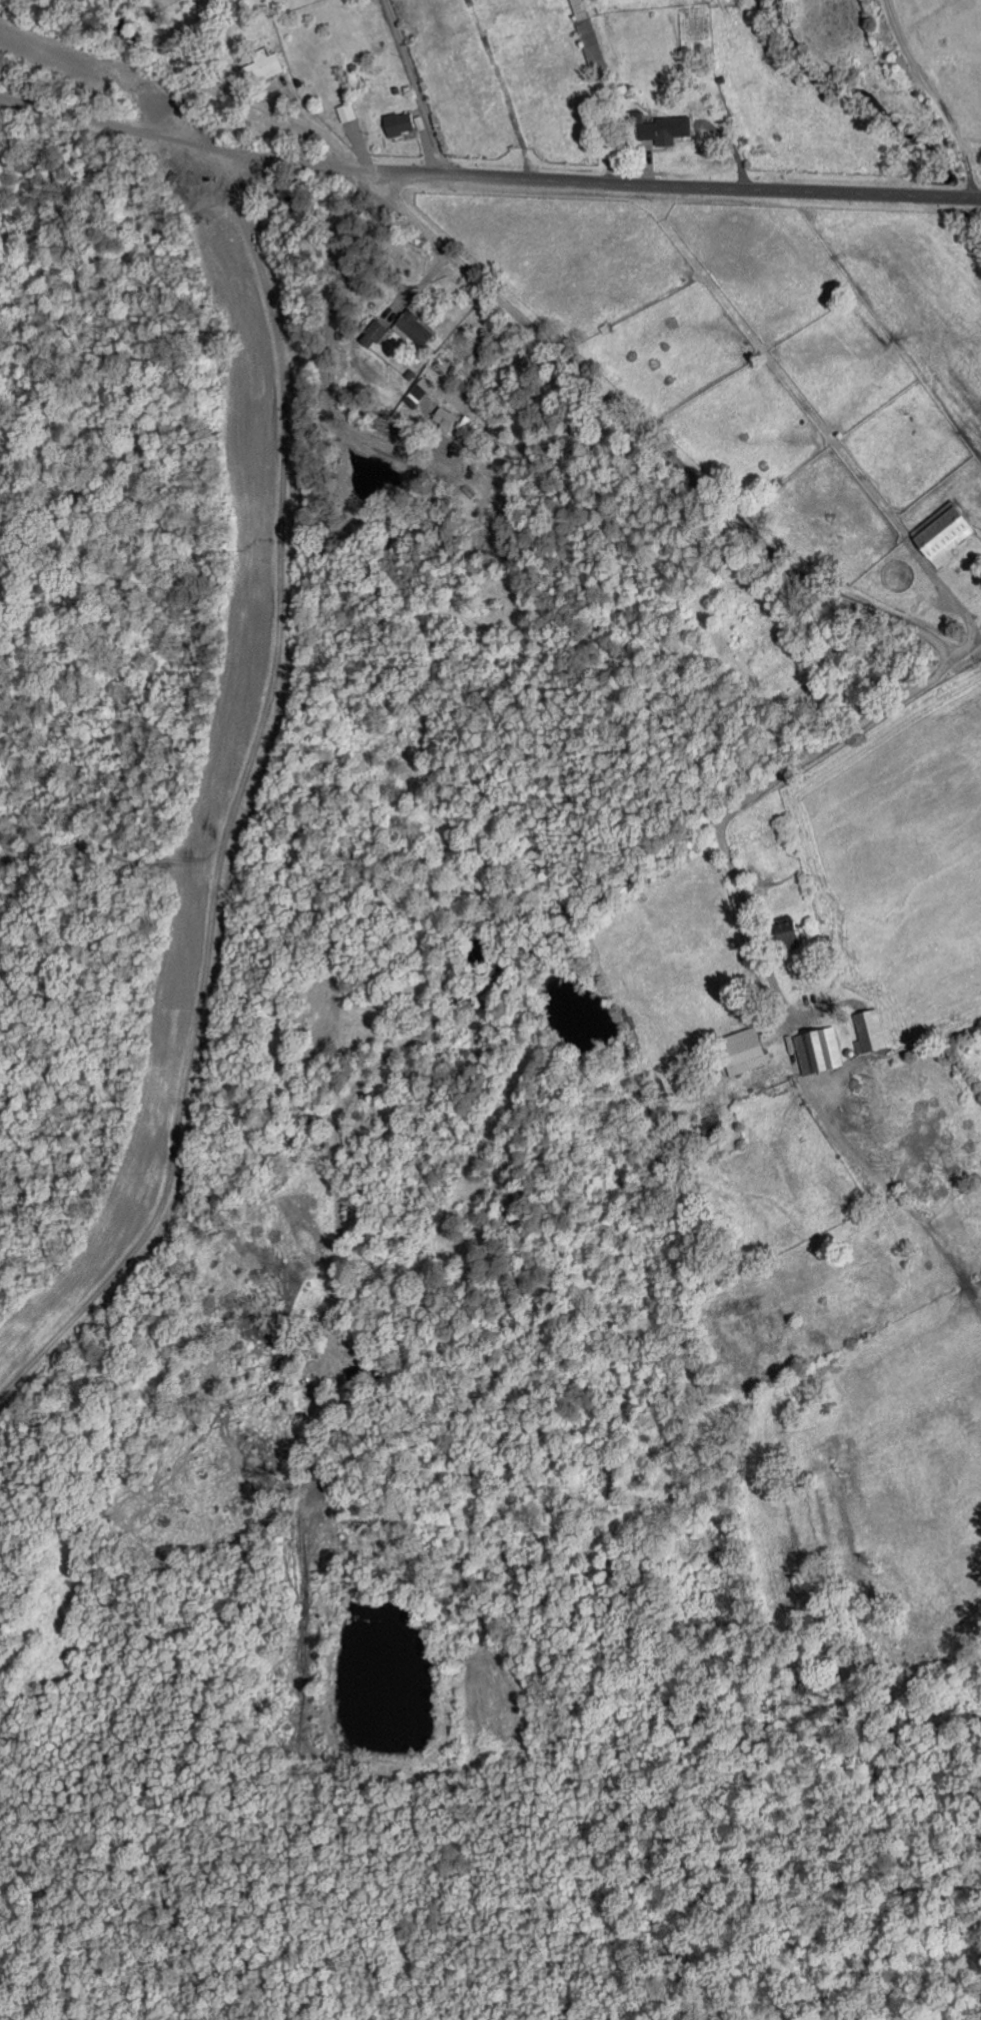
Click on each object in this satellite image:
road: (198, 4)
building: (262, 65)
road: (419, 86)
road: (936, 96)
road: (257, 101)
building: (398, 123)
building: (661, 127)
road: (185, 143)
road: (677, 187)
building: (413, 328)
building: (372, 334)
building: (420, 390)
building: (444, 419)
road: (749, 534)
building: (943, 534)
road: (750, 926)
road: (427, 1026)
building: (870, 1031)
building: (743, 1051)
building: (818, 1051)

